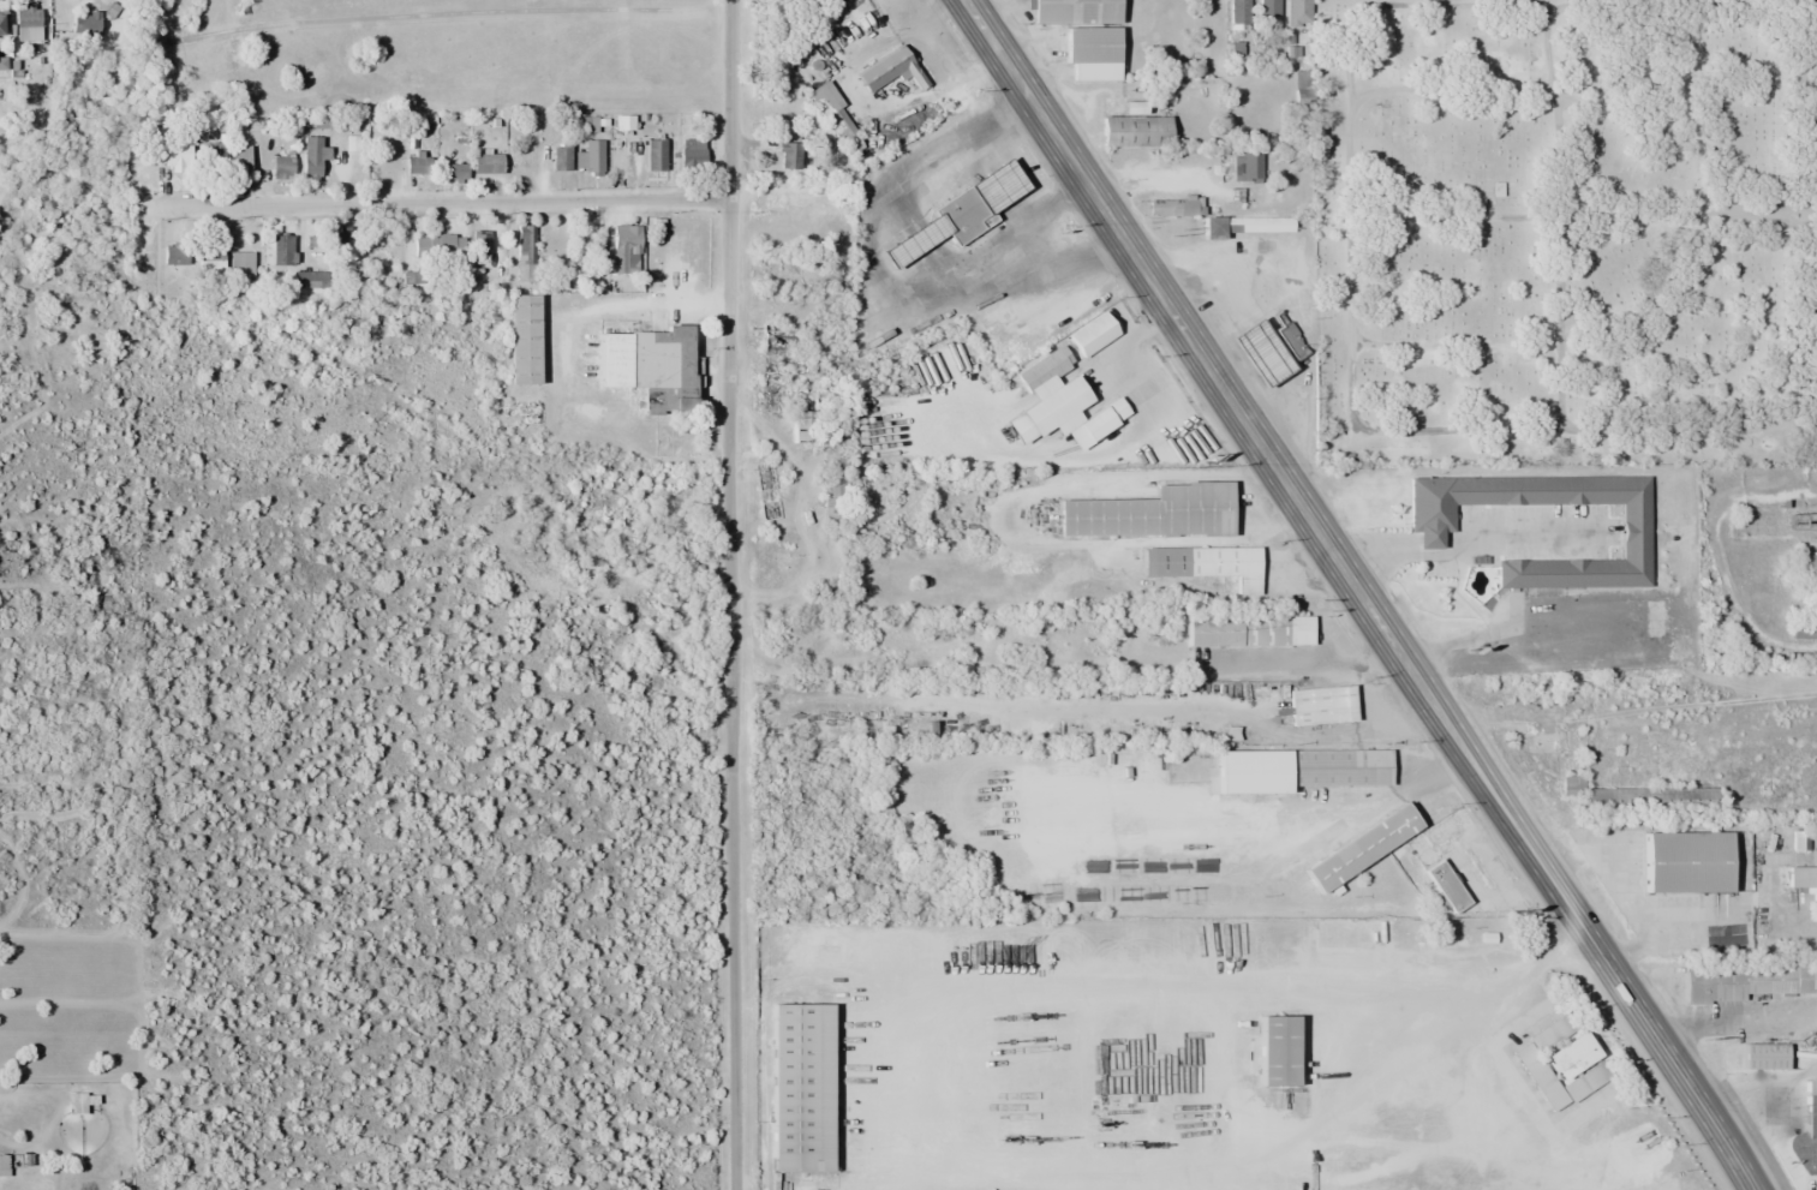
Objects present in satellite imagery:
building: (1268, 11)
building: (1074, 12)
building: (1238, 13)
building: (1297, 13)
building: (84, 24)
building: (1092, 53)
building: (2, 60)
building: (887, 70)
road: (730, 100)
building: (831, 113)
building: (1135, 131)
building: (214, 153)
building: (655, 155)
building: (691, 155)
building: (592, 156)
building: (788, 156)
building: (311, 159)
building: (239, 161)
building: (416, 163)
building: (485, 163)
building: (455, 172)
road: (441, 202)
road: (1729, 209)
road: (1585, 214)
building: (954, 216)
road: (1558, 217)
building: (1243, 226)
park: (1565, 231)
building: (345, 240)
building: (479, 243)
building: (435, 246)
building: (282, 250)
building: (525, 252)
building: (173, 255)
building: (240, 269)
building: (311, 279)
building: (521, 340)
building: (1291, 341)
building: (1257, 353)
building: (647, 366)
building: (1060, 400)
building: (800, 426)
road: (1394, 429)
building: (1150, 513)
building: (1633, 540)
building: (1203, 563)
building: (1806, 570)
road: (1359, 593)
building: (1805, 624)
building: (1248, 630)
road: (731, 694)
building: (1321, 705)
building: (1298, 769)
building: (1632, 795)
building: (1799, 839)
building: (1359, 847)
building: (1684, 861)
building: (1478, 867)
building: (1804, 880)
building: (1444, 889)
building: (1745, 980)
building: (1394, 1037)
building: (1275, 1050)
building: (1762, 1056)
building: (1565, 1070)
building: (799, 1087)
building: (78, 1101)
building: (1806, 1132)
building: (4, 1165)
building: (1686, 1182)

